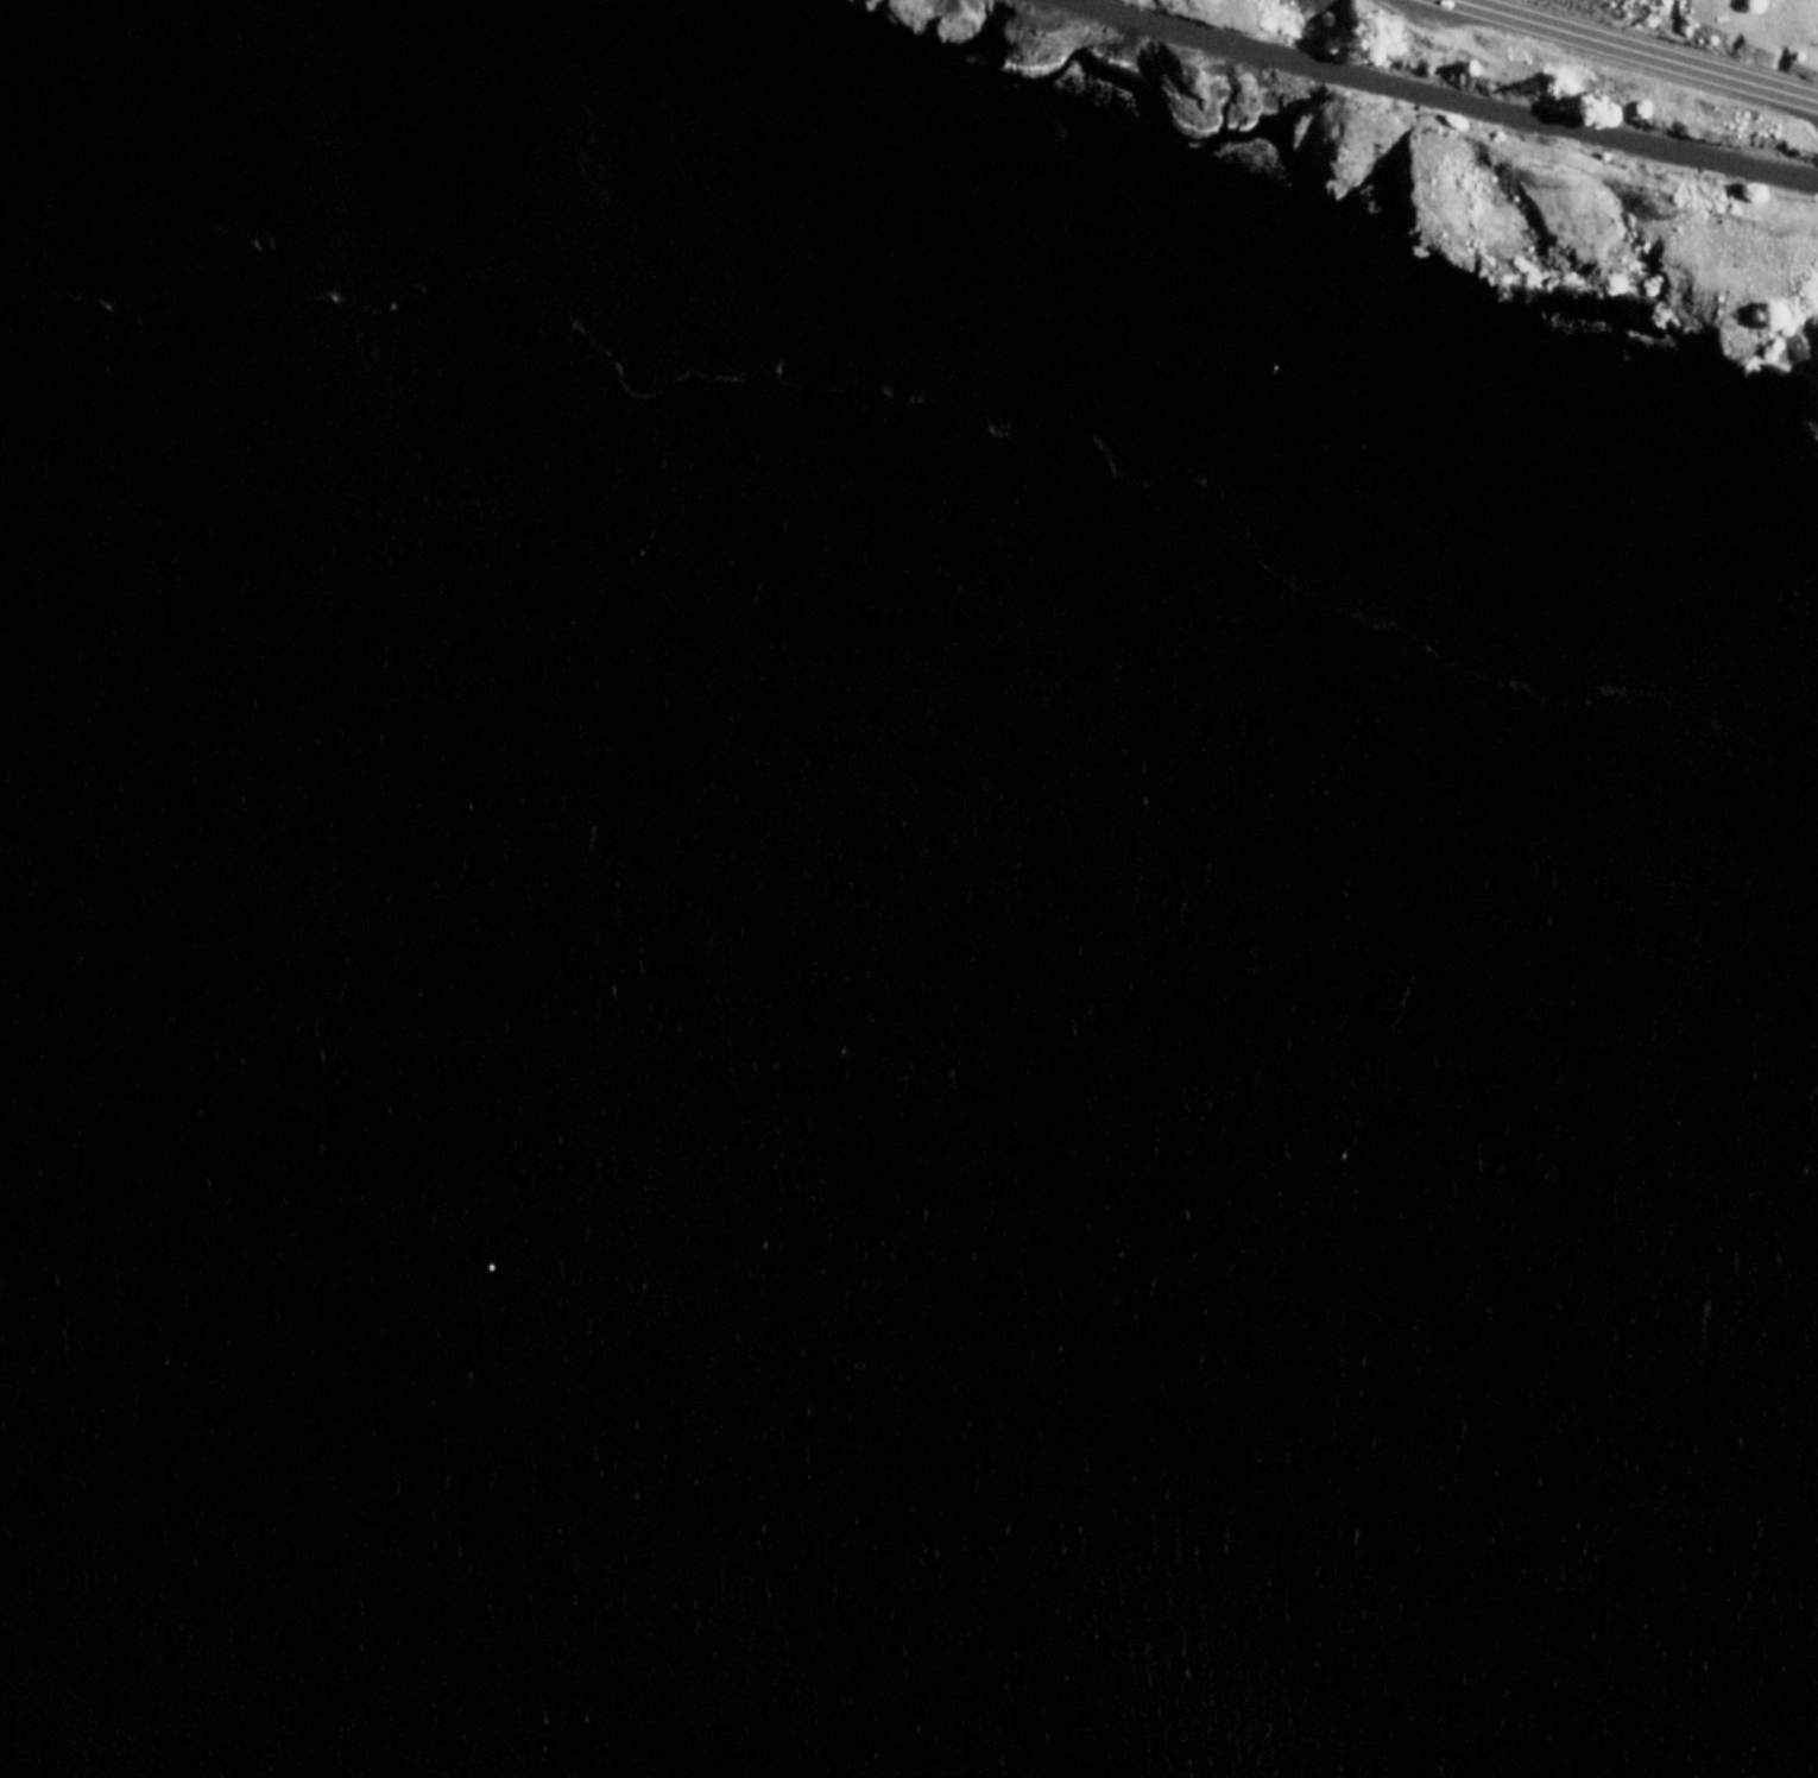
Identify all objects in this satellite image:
road: (1646, 48)
railway: (1451, 97)
river: (909, 990)

